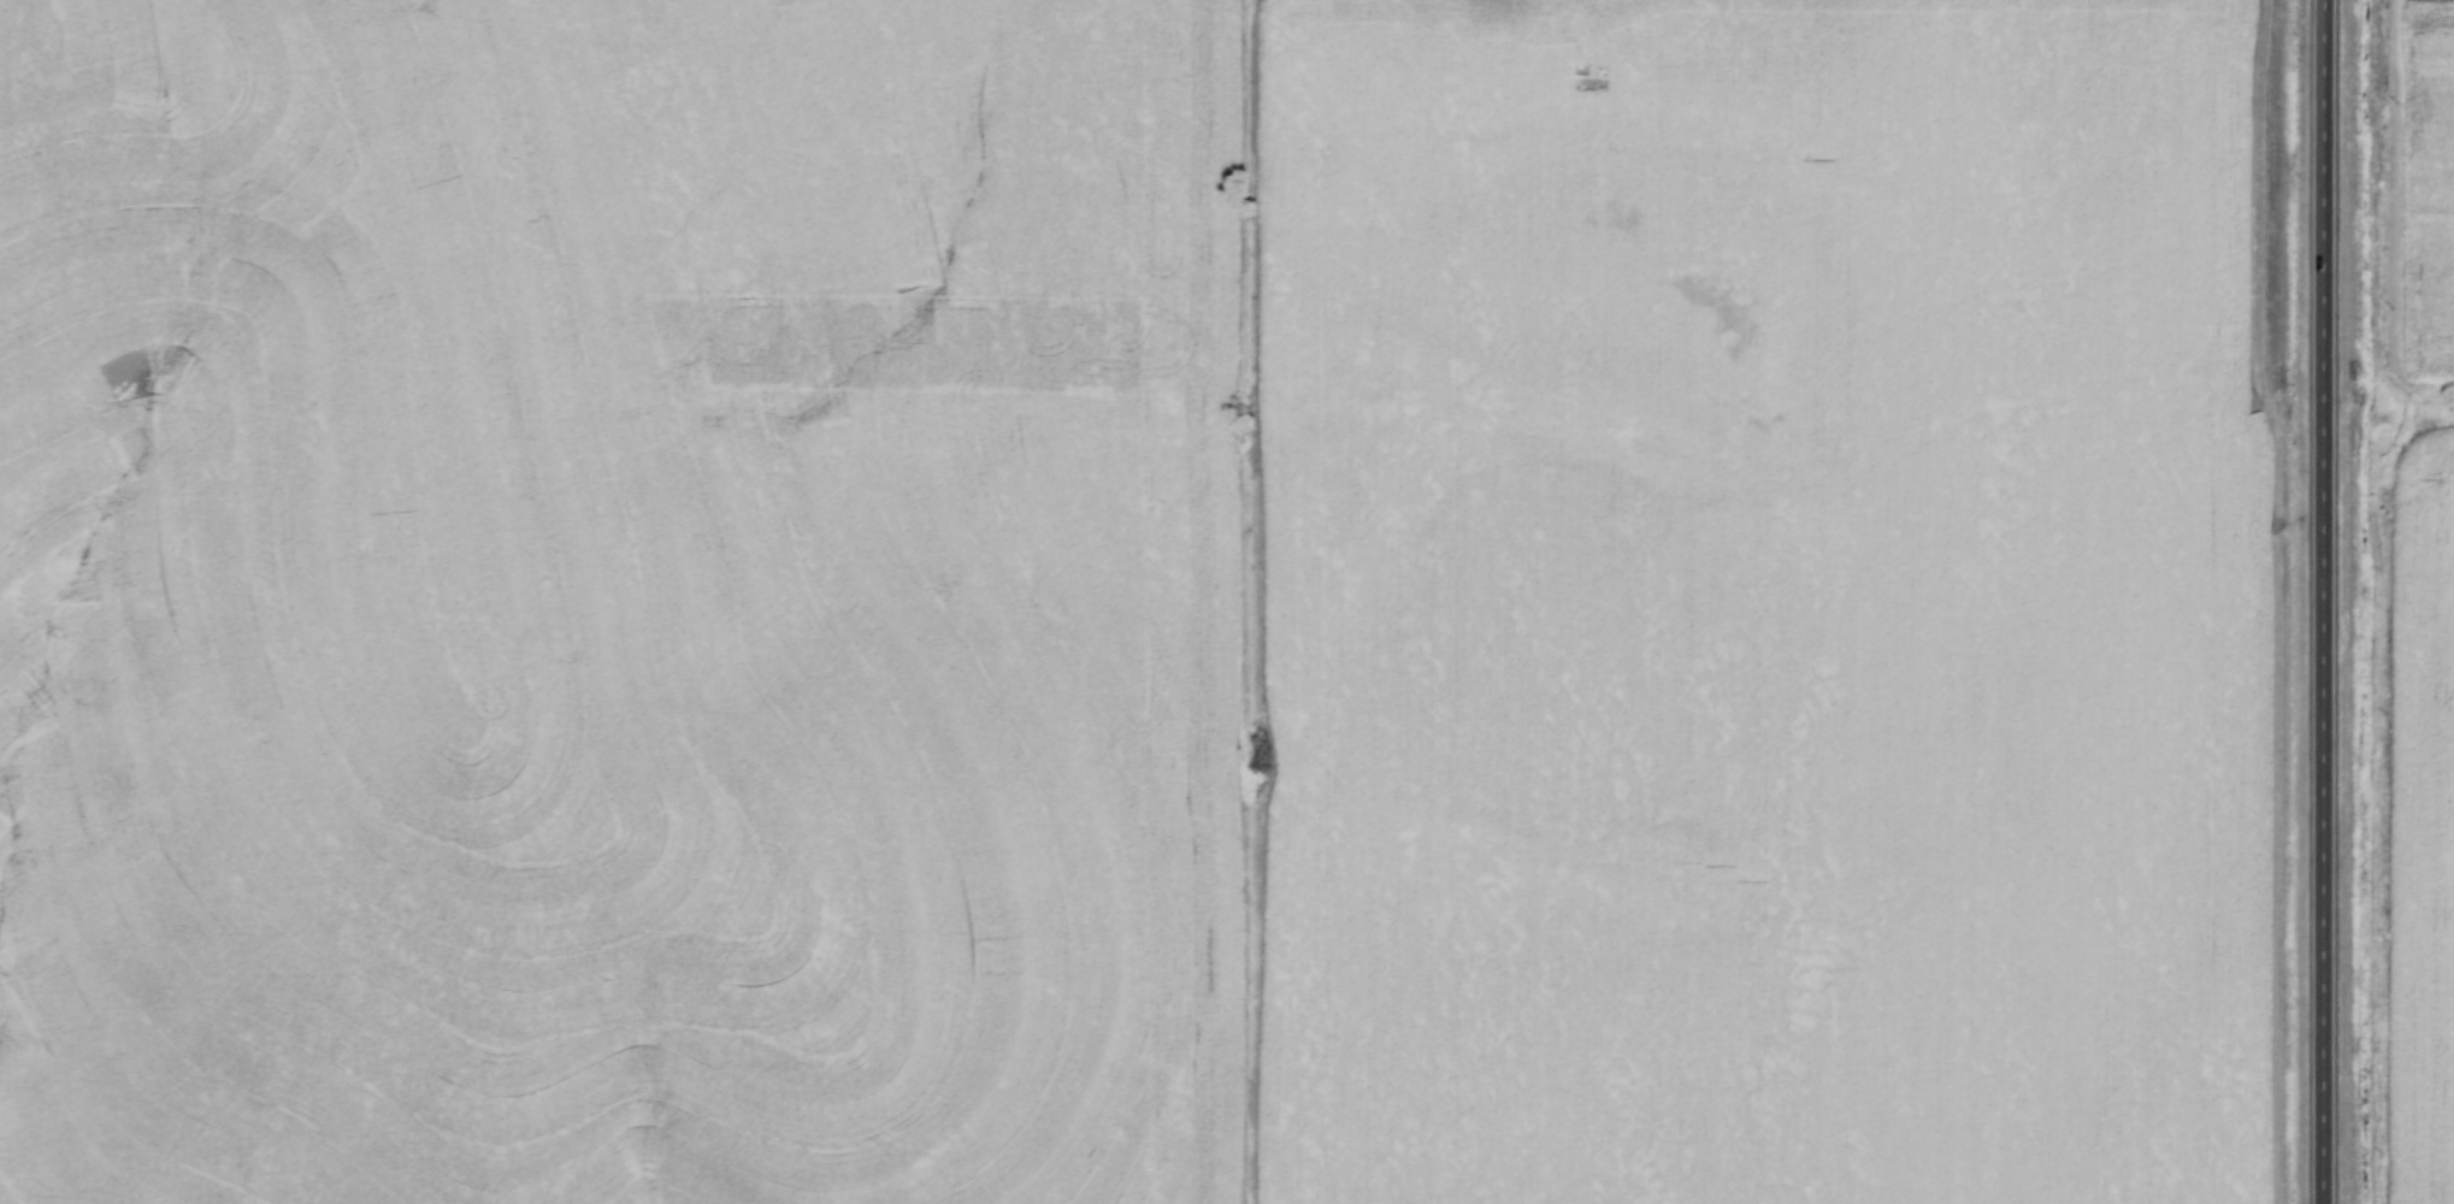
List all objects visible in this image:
road: (2325, 602)

